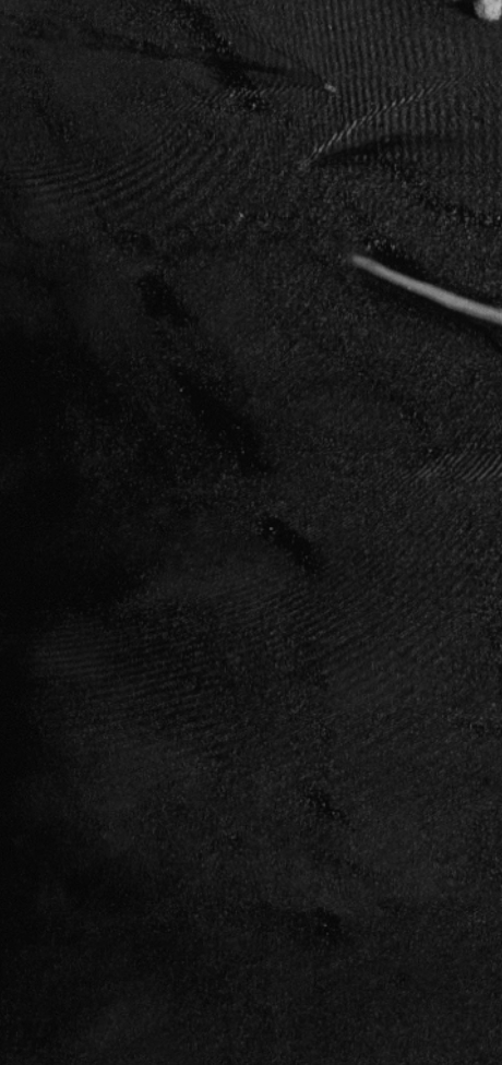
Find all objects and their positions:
park: (418, 163)

